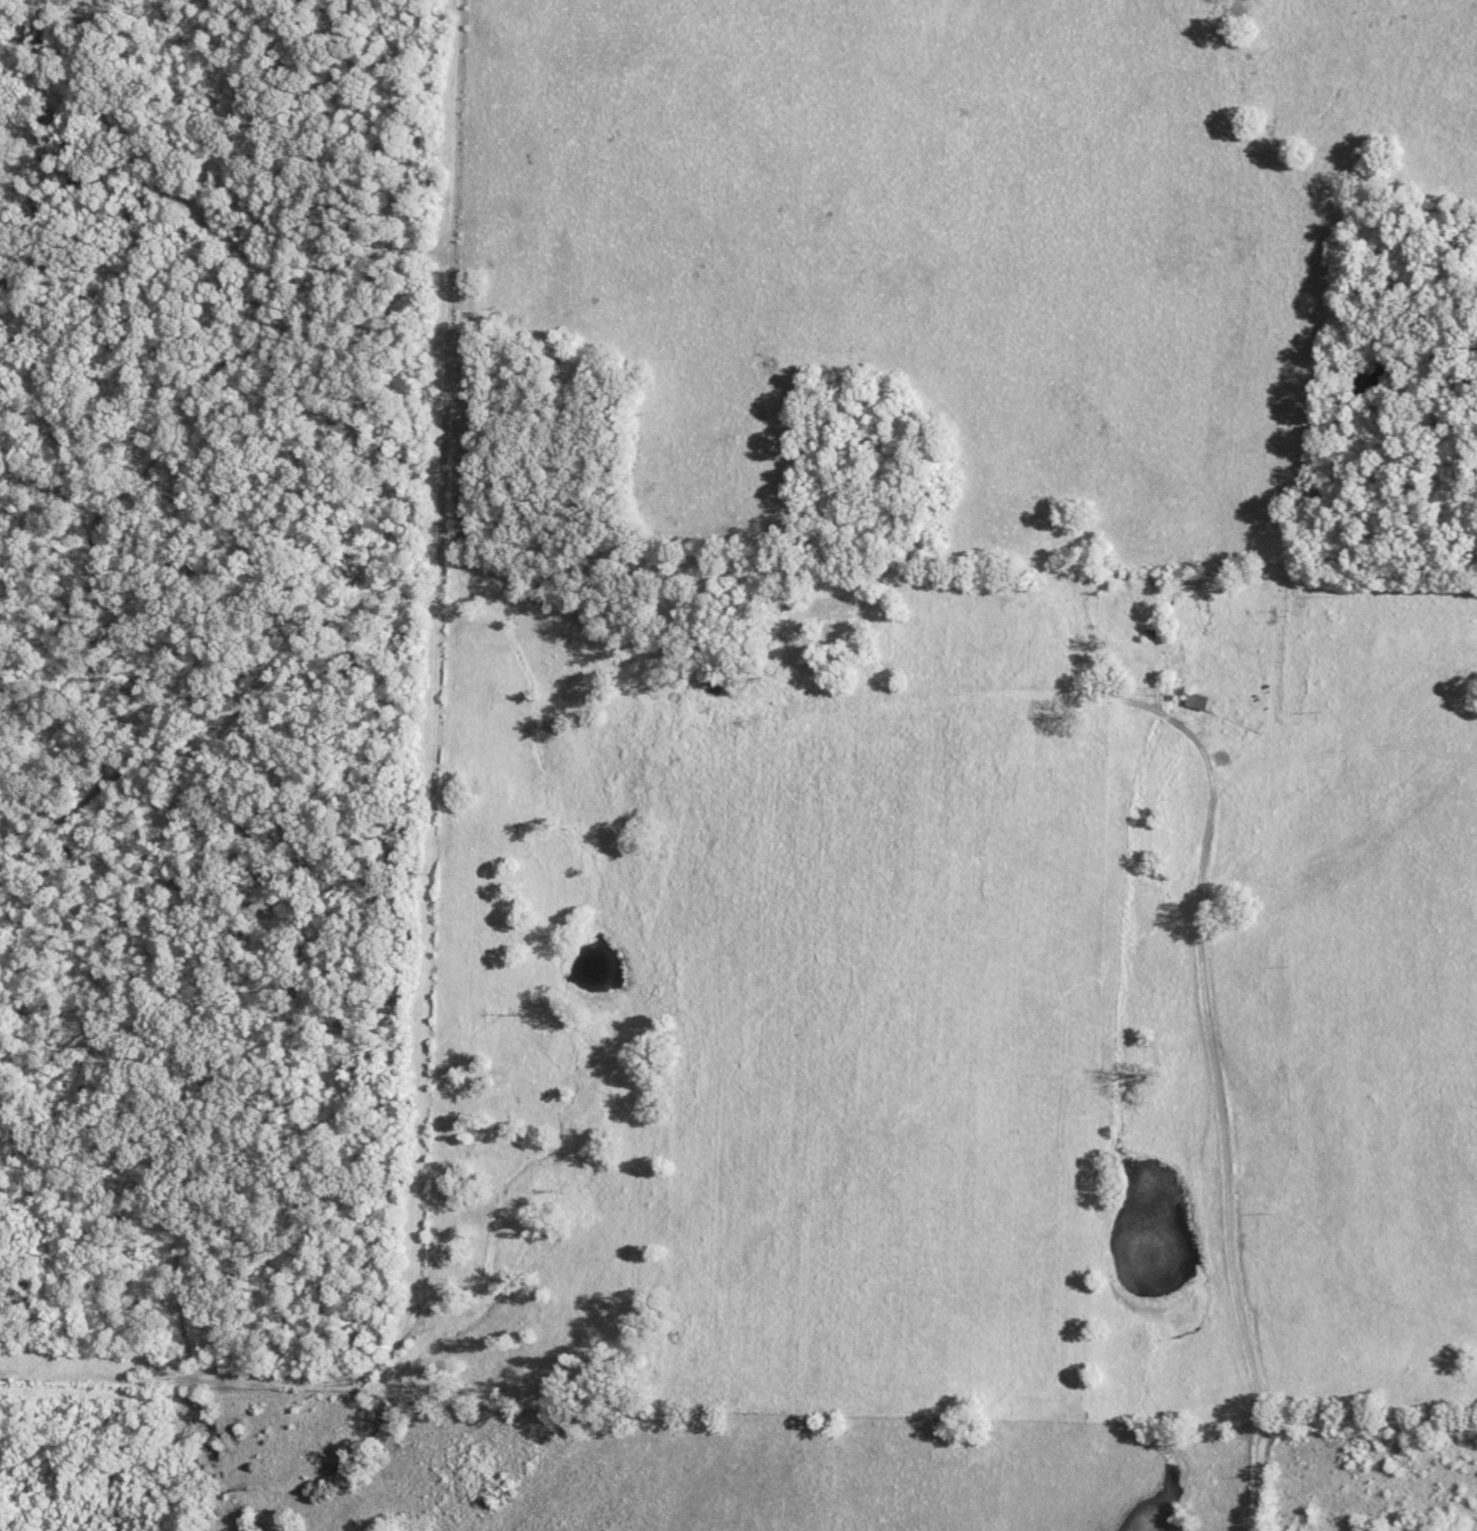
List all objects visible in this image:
building: (1131, 646)
building: (1197, 701)
road: (437, 889)
road: (1212, 1041)
road: (1369, 1425)
road: (1259, 1476)

